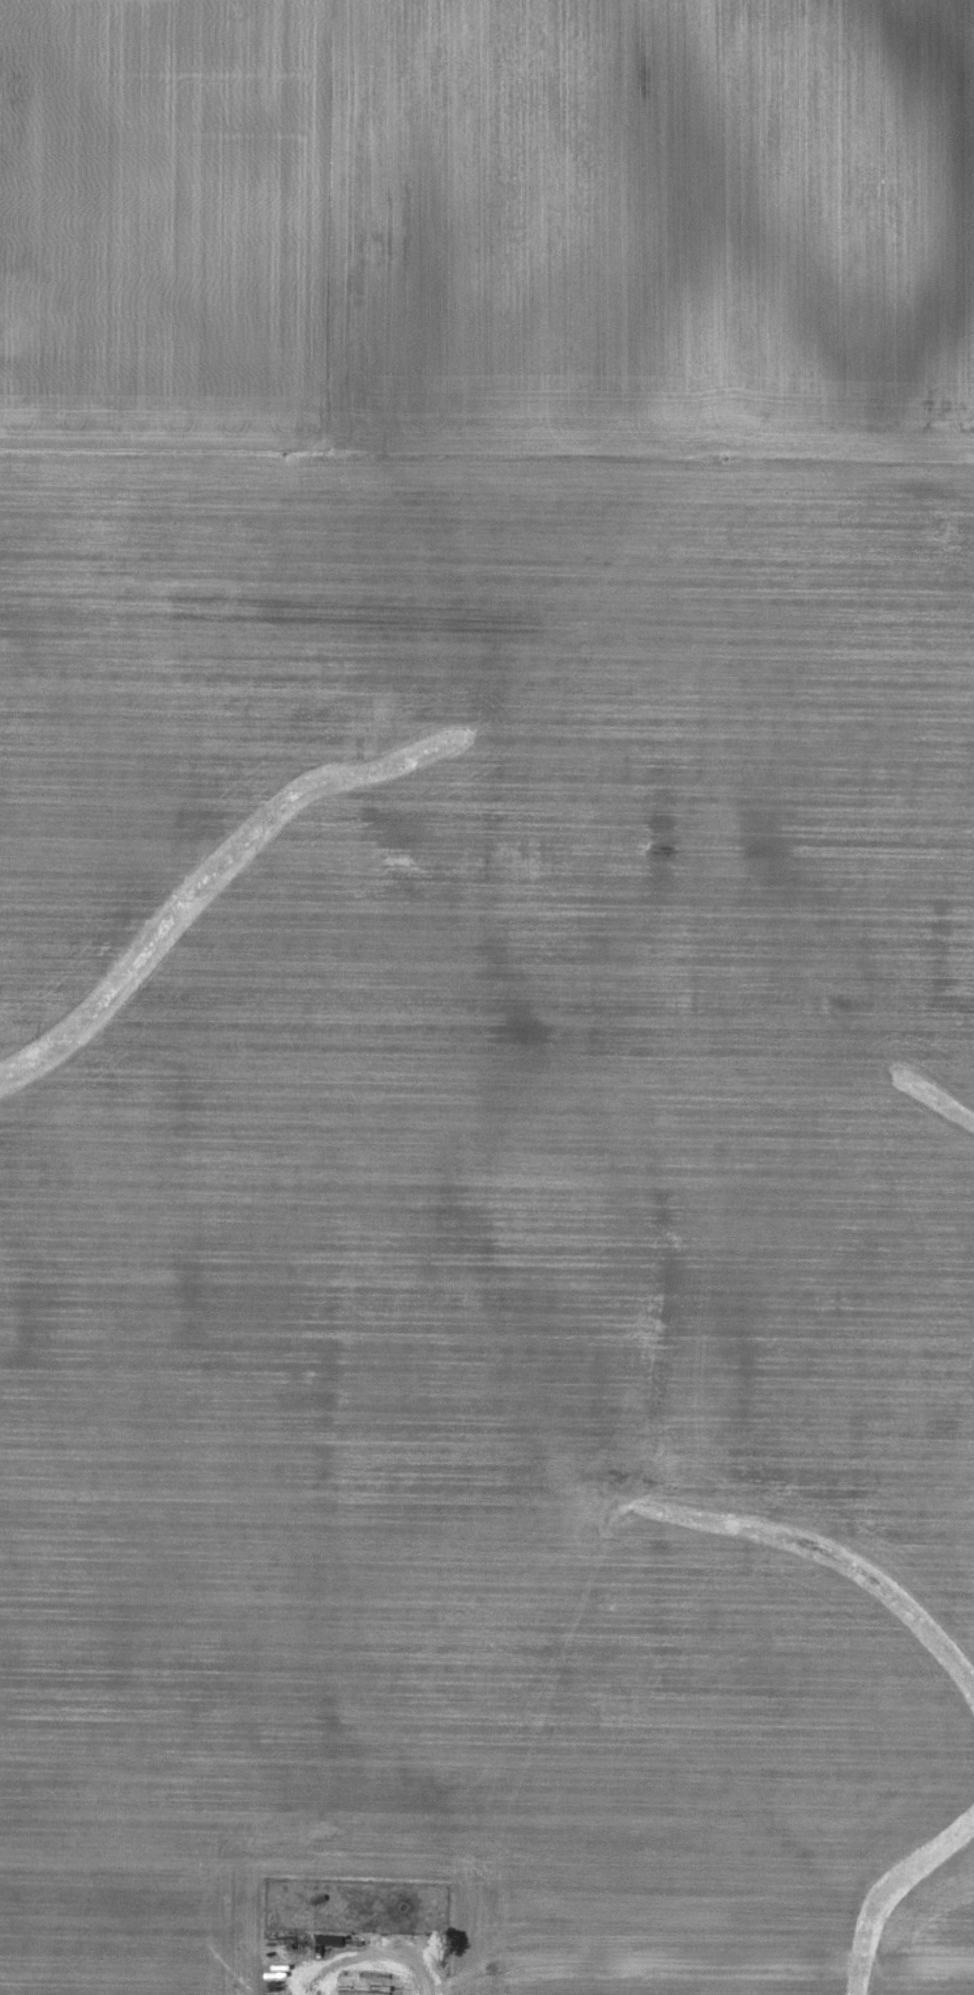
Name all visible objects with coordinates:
road: (390, 1956)

